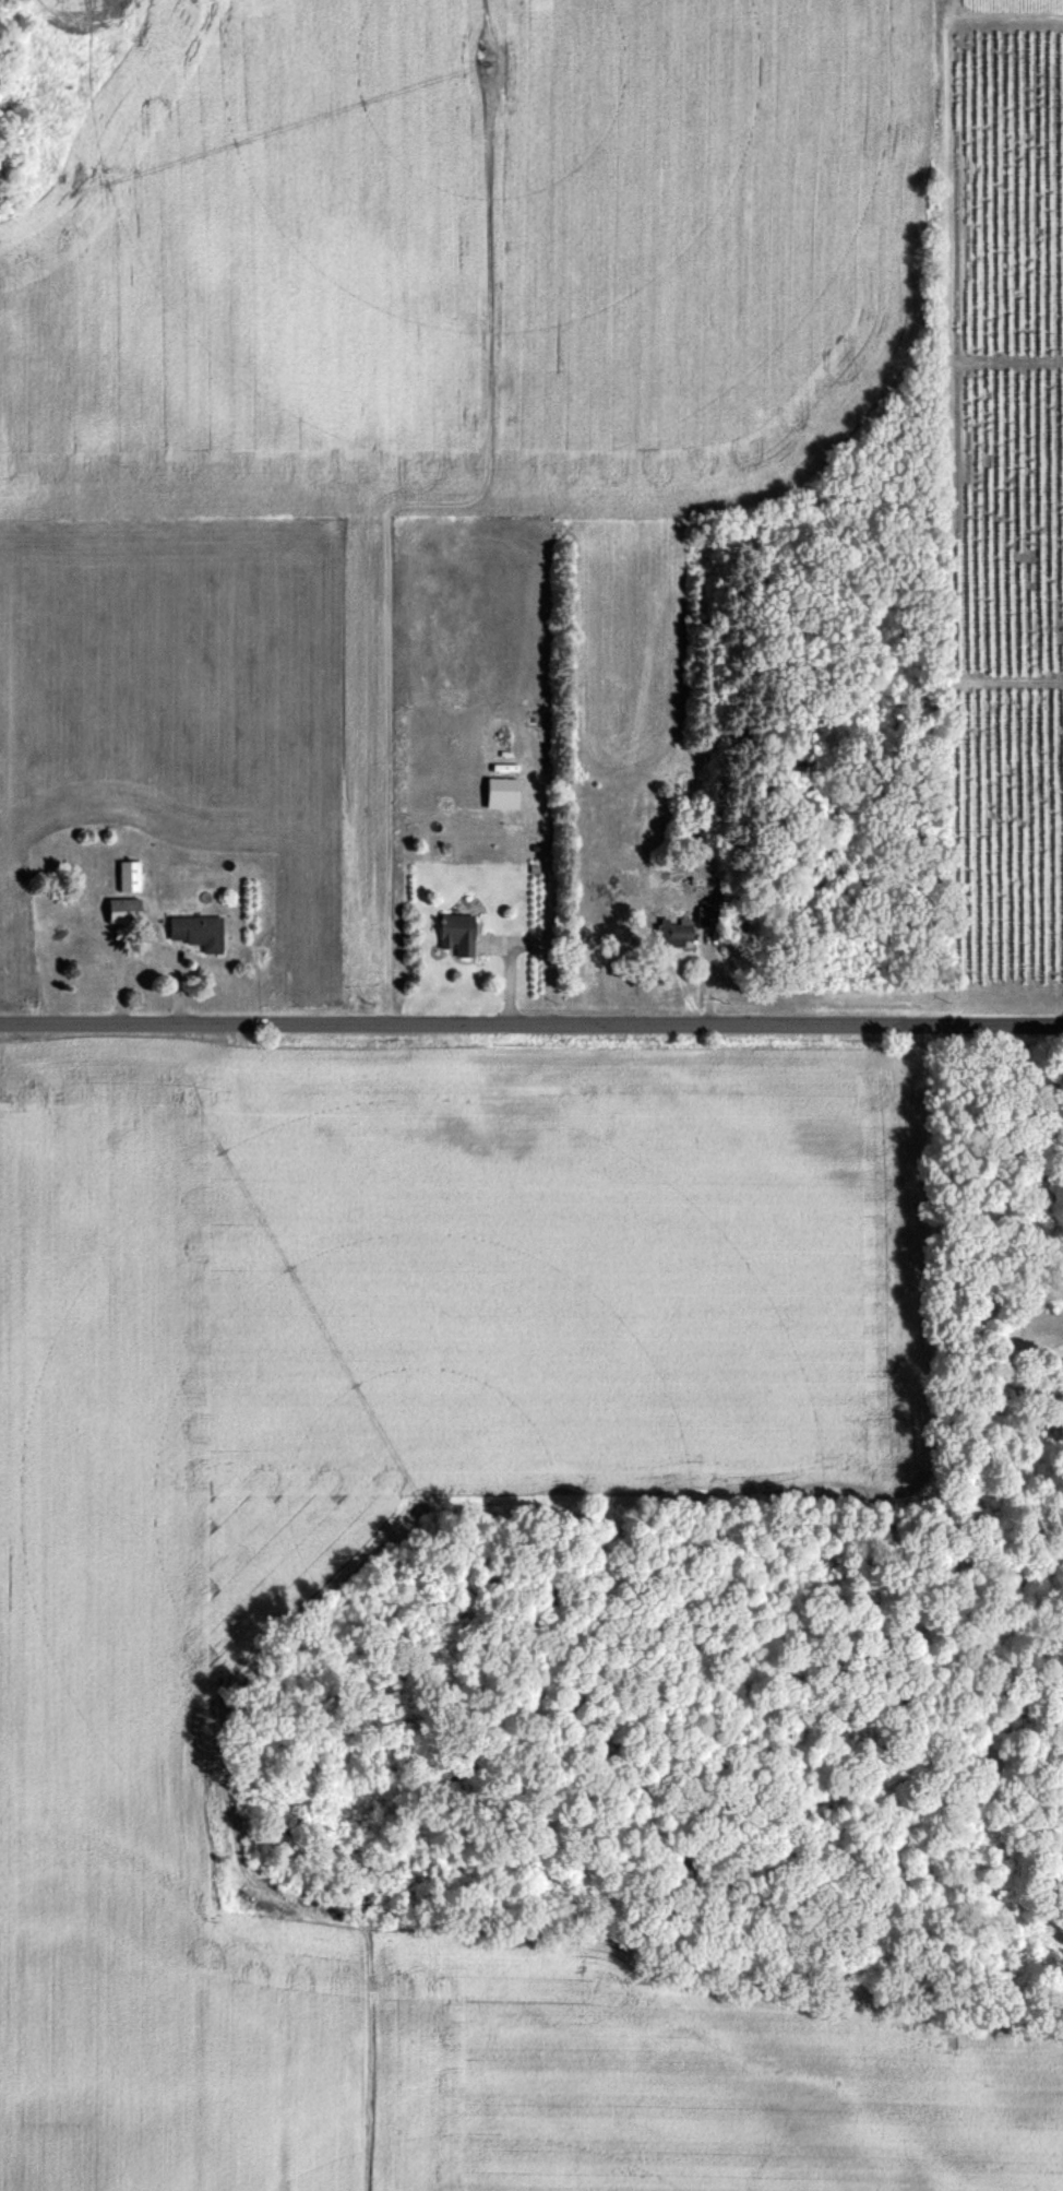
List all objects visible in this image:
building: (131, 876)
building: (127, 912)
building: (712, 915)
building: (202, 933)
building: (679, 933)
building: (461, 935)
building: (33, 958)
road: (531, 1025)

